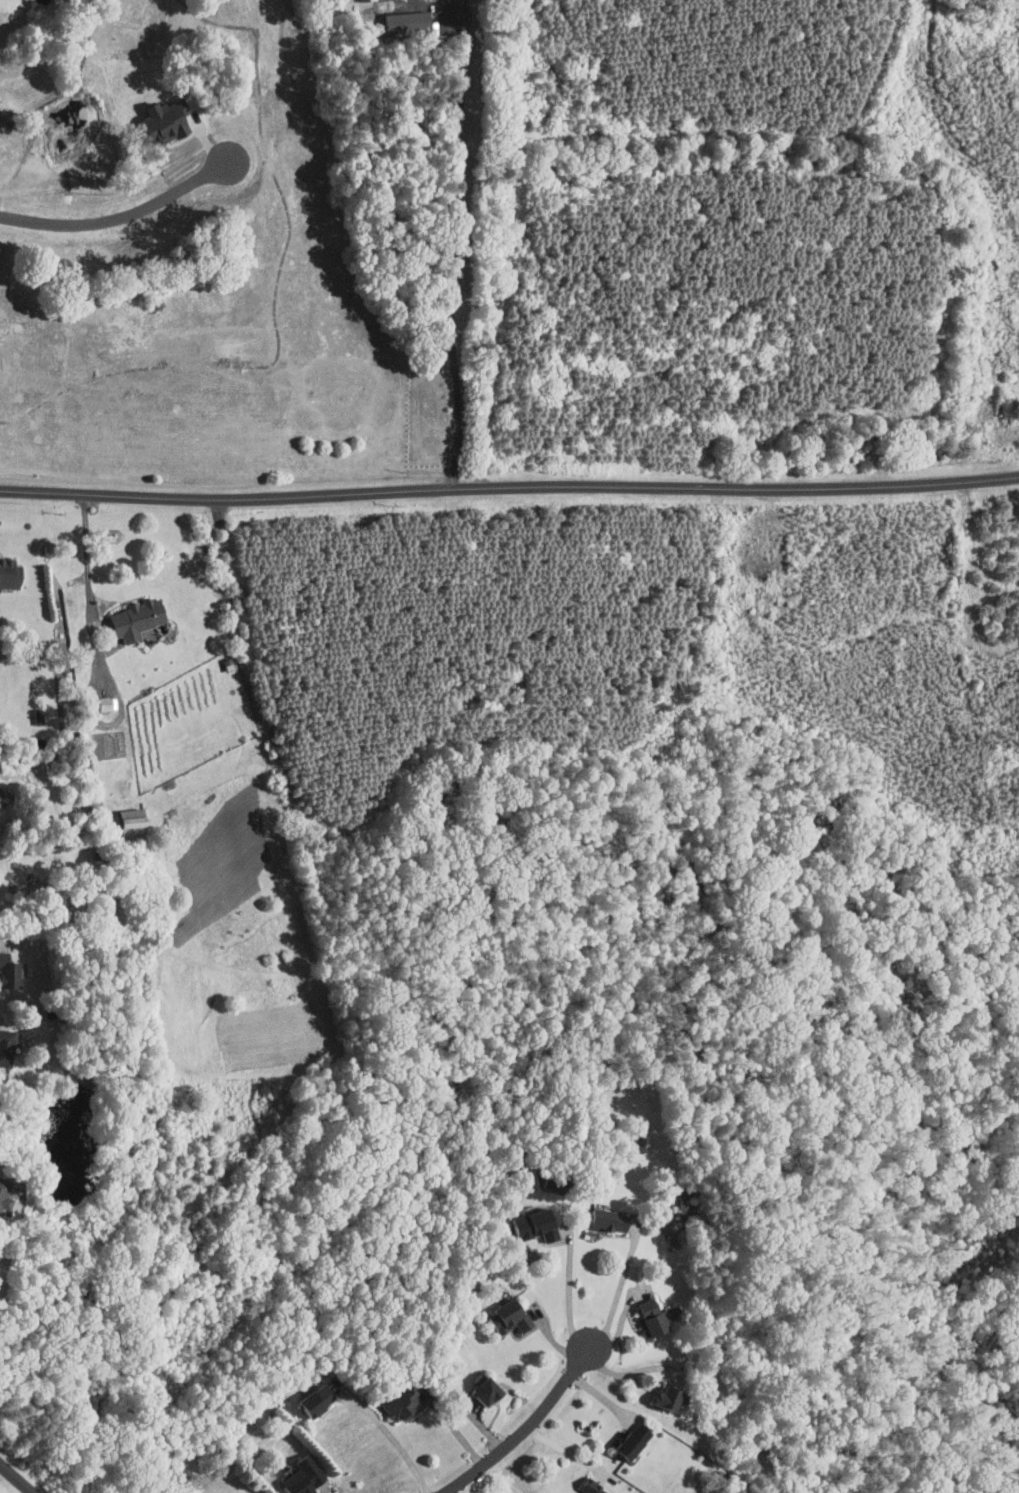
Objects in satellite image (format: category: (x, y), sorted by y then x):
building: (161, 113)
road: (119, 219)
road: (456, 246)
road: (509, 489)
building: (10, 572)
road: (92, 591)
building: (137, 617)
building: (104, 702)
building: (39, 715)
building: (133, 824)
building: (3, 1040)
building: (5, 1189)
building: (603, 1215)
building: (529, 1218)
road: (569, 1288)
road: (619, 1289)
building: (503, 1311)
building: (646, 1312)
road: (628, 1373)
building: (480, 1386)
building: (663, 1393)
road: (298, 1394)
building: (310, 1394)
road: (522, 1429)
road: (392, 1436)
building: (628, 1436)
road: (566, 1450)
building: (294, 1472)
road: (14, 1480)
building: (584, 1486)

